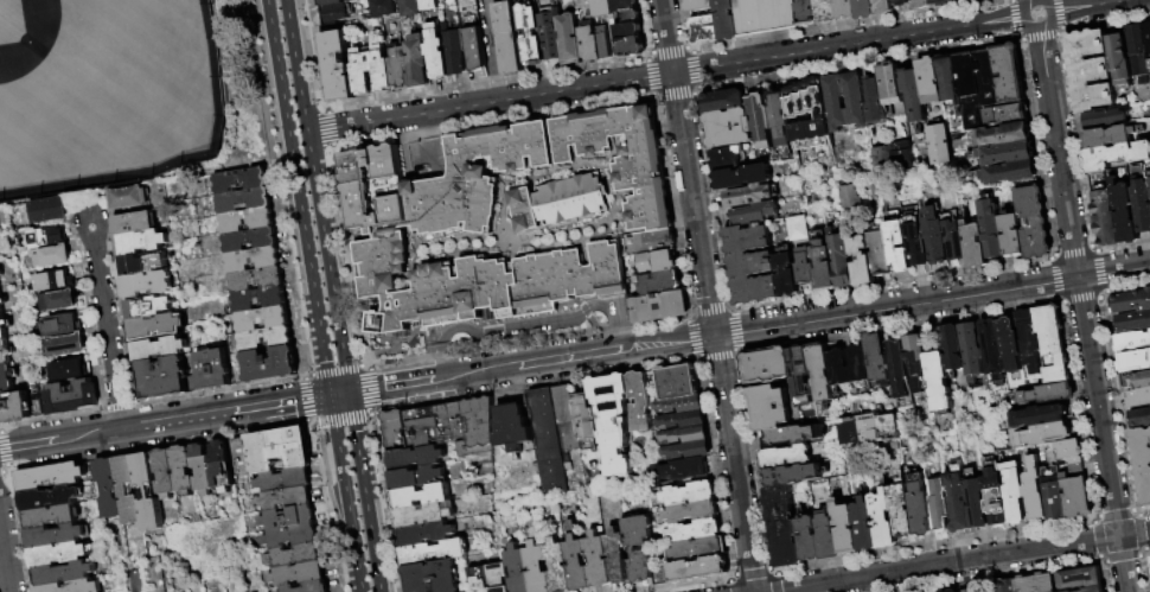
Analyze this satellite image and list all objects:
building: (354, 0)
building: (973, 0)
building: (979, 0)
road: (1034, 0)
building: (331, 2)
building: (901, 2)
building: (941, 2)
building: (921, 4)
building: (429, 5)
building: (702, 5)
building: (883, 6)
road: (1091, 6)
building: (383, 7)
building: (409, 7)
building: (602, 8)
building: (865, 8)
building: (845, 9)
building: (826, 11)
building: (807, 12)
building: (336, 13)
building: (767, 17)
building: (728, 20)
building: (632, 27)
road: (1039, 28)
building: (705, 30)
building: (1148, 33)
building: (530, 34)
building: (551, 36)
road: (666, 37)
building: (509, 38)
building: (569, 38)
building: (603, 43)
building: (589, 45)
road: (848, 45)
road: (491, 51)
building: (1139, 52)
building: (437, 56)
building: (1120, 59)
building: (419, 62)
building: (456, 62)
building: (1149, 63)
road: (294, 66)
building: (338, 66)
road: (276, 68)
building: (400, 69)
building: (1090, 70)
building: (362, 71)
building: (1009, 72)
building: (948, 78)
building: (977, 79)
building: (931, 81)
building: (893, 87)
park: (110, 95)
building: (914, 95)
building: (845, 100)
building: (875, 101)
road: (490, 103)
building: (809, 114)
building: (996, 115)
building: (1105, 117)
building: (728, 120)
building: (761, 120)
building: (780, 121)
road: (332, 128)
building: (1004, 135)
building: (1109, 135)
road: (426, 141)
building: (937, 144)
building: (890, 154)
building: (1007, 154)
building: (1117, 155)
building: (624, 158)
building: (727, 158)
building: (1010, 173)
building: (1149, 176)
building: (743, 177)
building: (475, 178)
building: (256, 182)
building: (368, 182)
road: (277, 187)
building: (749, 196)
building: (848, 196)
building: (129, 197)
building: (244, 200)
building: (562, 202)
building: (1141, 203)
road: (694, 204)
building: (47, 210)
building: (1124, 211)
building: (755, 212)
building: (1106, 218)
building: (247, 219)
building: (134, 222)
building: (1034, 222)
building: (796, 227)
building: (992, 229)
building: (1012, 234)
building: (47, 236)
building: (937, 236)
building: (918, 238)
building: (250, 240)
building: (660, 241)
building: (140, 242)
building: (956, 242)
building: (975, 244)
building: (899, 246)
building: (2, 248)
building: (880, 254)
road: (349, 255)
building: (52, 256)
building: (841, 259)
building: (268, 260)
building: (823, 261)
building: (862, 261)
road: (326, 262)
building: (659, 262)
building: (143, 263)
road: (308, 265)
building: (759, 266)
building: (804, 267)
building: (0, 273)
building: (256, 279)
building: (55, 281)
building: (480, 282)
building: (660, 282)
building: (148, 284)
parking lot: (618, 287)
road: (580, 299)
road: (932, 299)
building: (274, 300)
building: (2, 301)
building: (58, 301)
building: (1130, 301)
road: (618, 306)
building: (660, 306)
building: (149, 307)
road: (538, 310)
road: (1084, 310)
road: (587, 311)
building: (263, 319)
road: (458, 319)
road: (493, 320)
building: (1135, 322)
building: (63, 325)
building: (155, 325)
road: (647, 325)
building: (4, 326)
road: (107, 327)
road: (511, 327)
road: (620, 332)
road: (494, 335)
traffic signals: (715, 335)
road: (413, 337)
building: (1053, 337)
building: (266, 338)
building: (1029, 338)
road: (390, 339)
building: (1133, 340)
road: (664, 342)
road: (522, 343)
building: (66, 345)
road: (497, 345)
building: (1010, 345)
building: (953, 346)
building: (159, 349)
building: (992, 349)
road: (390, 350)
building: (972, 350)
building: (4, 351)
building: (918, 355)
road: (370, 356)
building: (877, 358)
road: (416, 359)
building: (837, 359)
building: (1136, 359)
road: (685, 362)
building: (269, 364)
building: (768, 364)
road: (368, 367)
building: (70, 369)
building: (213, 369)
road: (493, 369)
road: (337, 371)
building: (820, 373)
building: (900, 373)
road: (307, 376)
building: (6, 377)
building: (162, 378)
building: (939, 381)
building: (1138, 381)
building: (678, 382)
building: (193, 383)
building: (803, 384)
building: (1050, 389)
road: (375, 390)
road: (360, 392)
traffic signals: (347, 394)
road: (338, 395)
traffic signals: (330, 396)
building: (71, 397)
road: (319, 397)
building: (1138, 399)
road: (308, 400)
building: (640, 401)
building: (682, 405)
road: (263, 406)
building: (769, 407)
building: (14, 408)
building: (38, 408)
road: (373, 416)
building: (1040, 416)
building: (567, 418)
building: (586, 418)
building: (1141, 419)
building: (683, 420)
building: (614, 421)
road: (344, 422)
building: (435, 425)
road: (311, 426)
building: (478, 427)
building: (513, 427)
building: (867, 428)
road: (1, 429)
road: (315, 429)
road: (326, 429)
road: (109, 432)
building: (396, 432)
building: (1042, 434)
building: (685, 435)
building: (793, 435)
building: (549, 440)
road: (6, 448)
building: (1069, 450)
building: (270, 451)
building: (688, 451)
building: (785, 457)
building: (417, 458)
road: (735, 463)
building: (1142, 463)
building: (222, 466)
building: (202, 469)
road: (340, 470)
road: (9, 471)
building: (183, 471)
road: (327, 471)
building: (679, 471)
road: (2, 472)
building: (166, 473)
building: (791, 475)
building: (50, 477)
building: (417, 477)
building: (285, 479)
building: (109, 489)
building: (128, 490)
building: (148, 491)
building: (1015, 491)
building: (1036, 491)
road: (363, 492)
building: (689, 494)
building: (421, 496)
building: (1076, 496)
building: (50, 498)
building: (285, 498)
building: (997, 498)
building: (1055, 498)
road: (388, 499)
building: (959, 503)
building: (977, 504)
building: (941, 505)
building: (920, 507)
road: (330, 510)
building: (692, 511)
building: (902, 511)
building: (423, 515)
building: (51, 517)
building: (288, 518)
building: (883, 520)
building: (865, 526)
building: (784, 527)
building: (846, 527)
building: (695, 530)
building: (426, 534)
building: (56, 535)
building: (829, 535)
building: (292, 536)
building: (810, 539)
building: (639, 547)
building: (698, 548)
building: (435, 552)
building: (59, 555)
building: (295, 555)
building: (616, 558)
road: (5, 559)
building: (576, 560)
building: (598, 561)
road: (961, 561)
building: (558, 566)
building: (537, 567)
road: (1143, 567)
road: (356, 568)
building: (518, 568)
building: (699, 569)
road: (754, 572)
road: (778, 572)
building: (64, 573)
building: (298, 574)
road: (736, 575)
building: (435, 577)
building: (1078, 577)
building: (491, 578)
road: (733, 581)
building: (1033, 583)
road: (781, 584)
building: (1001, 585)
building: (75, 586)
building: (308, 587)
road: (734, 587)
building: (1085, 588)
building: (954, 590)
building: (943, 591)
building: (971, 591)

